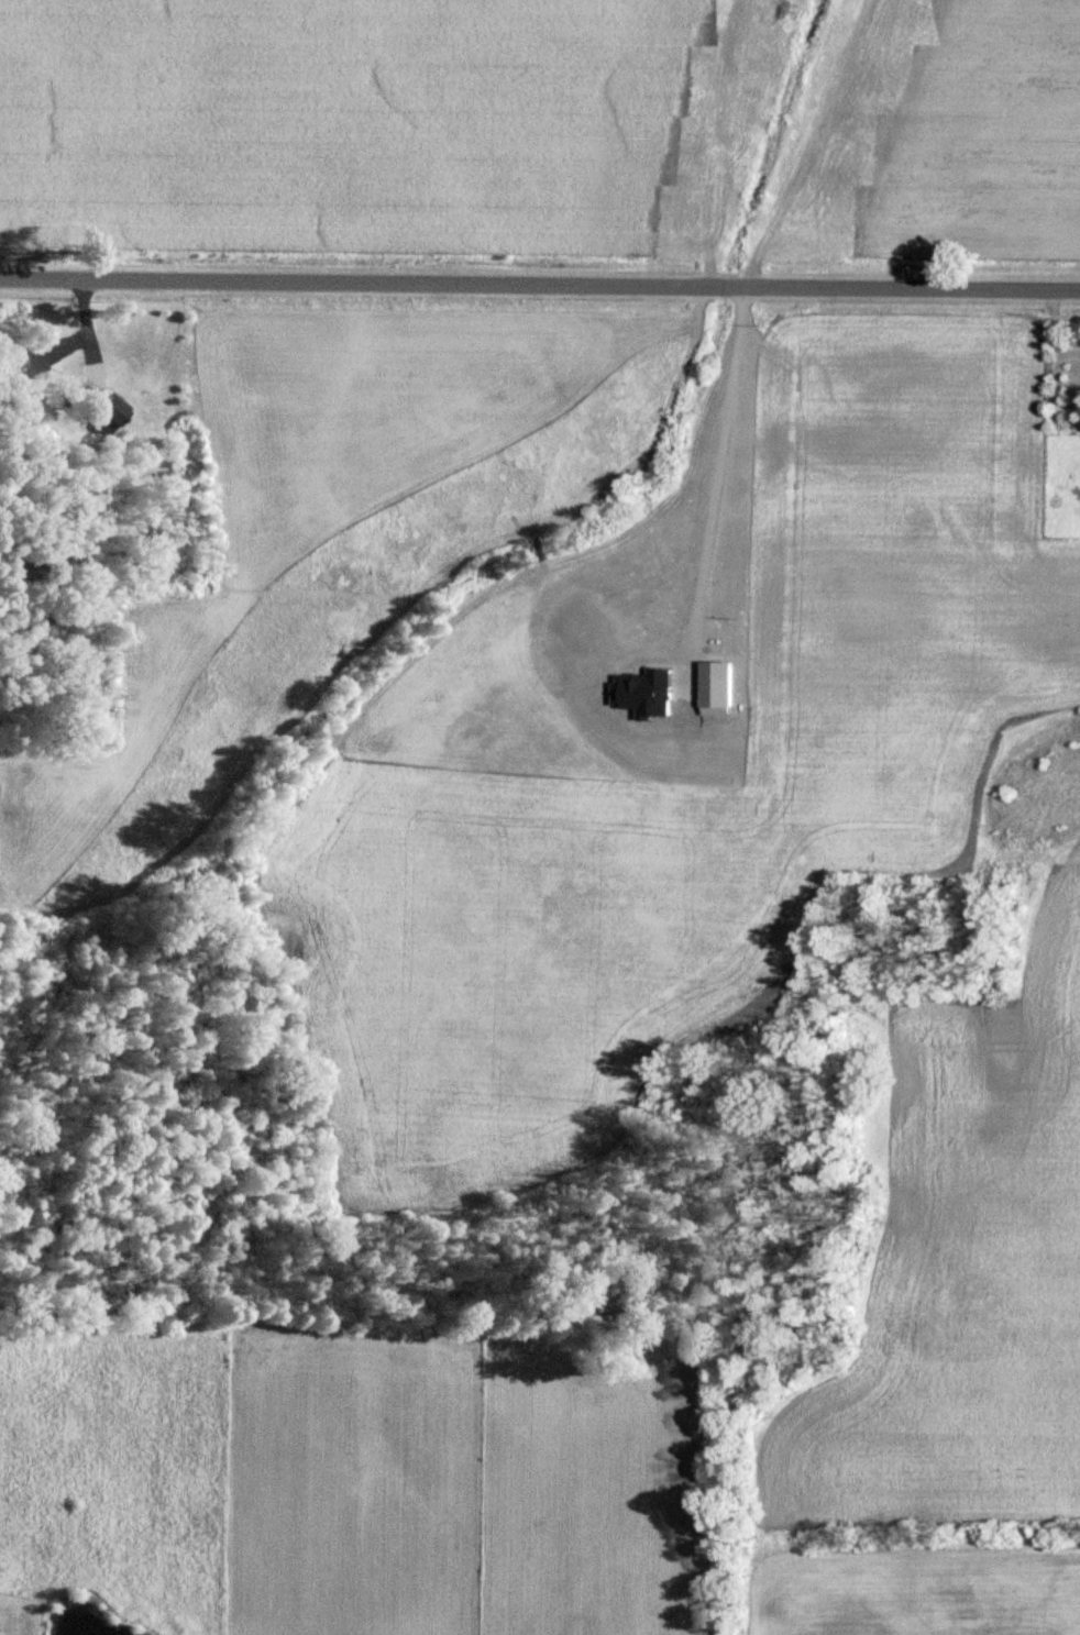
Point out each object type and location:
road: (539, 287)
building: (96, 410)
road: (712, 461)

